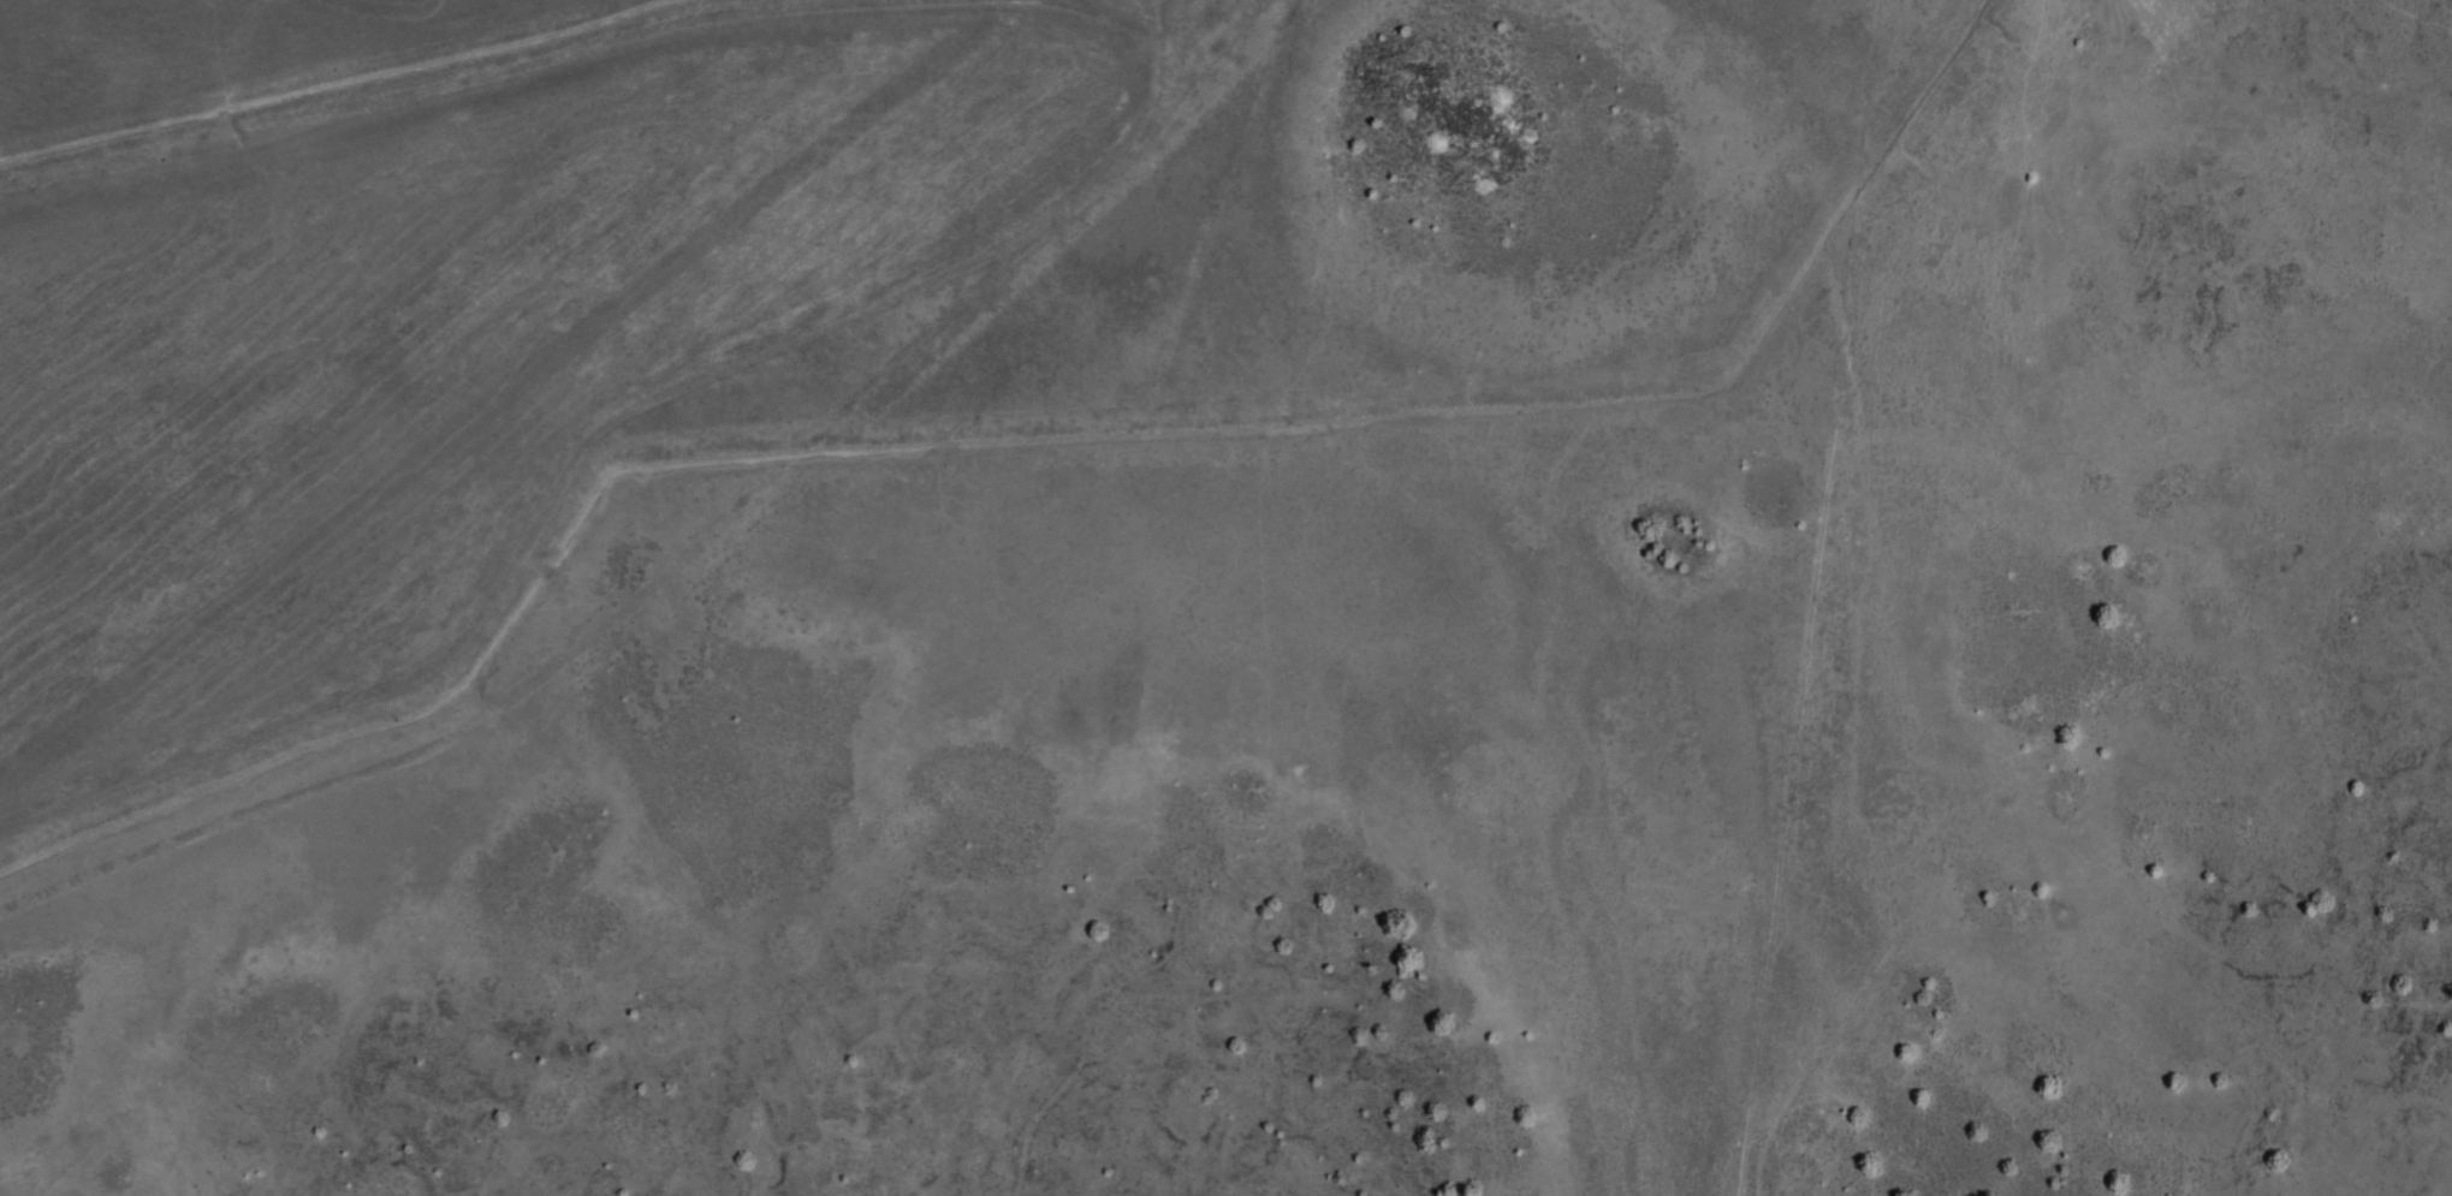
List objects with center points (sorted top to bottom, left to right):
crop: (232, 56)
crop: (446, 334)

